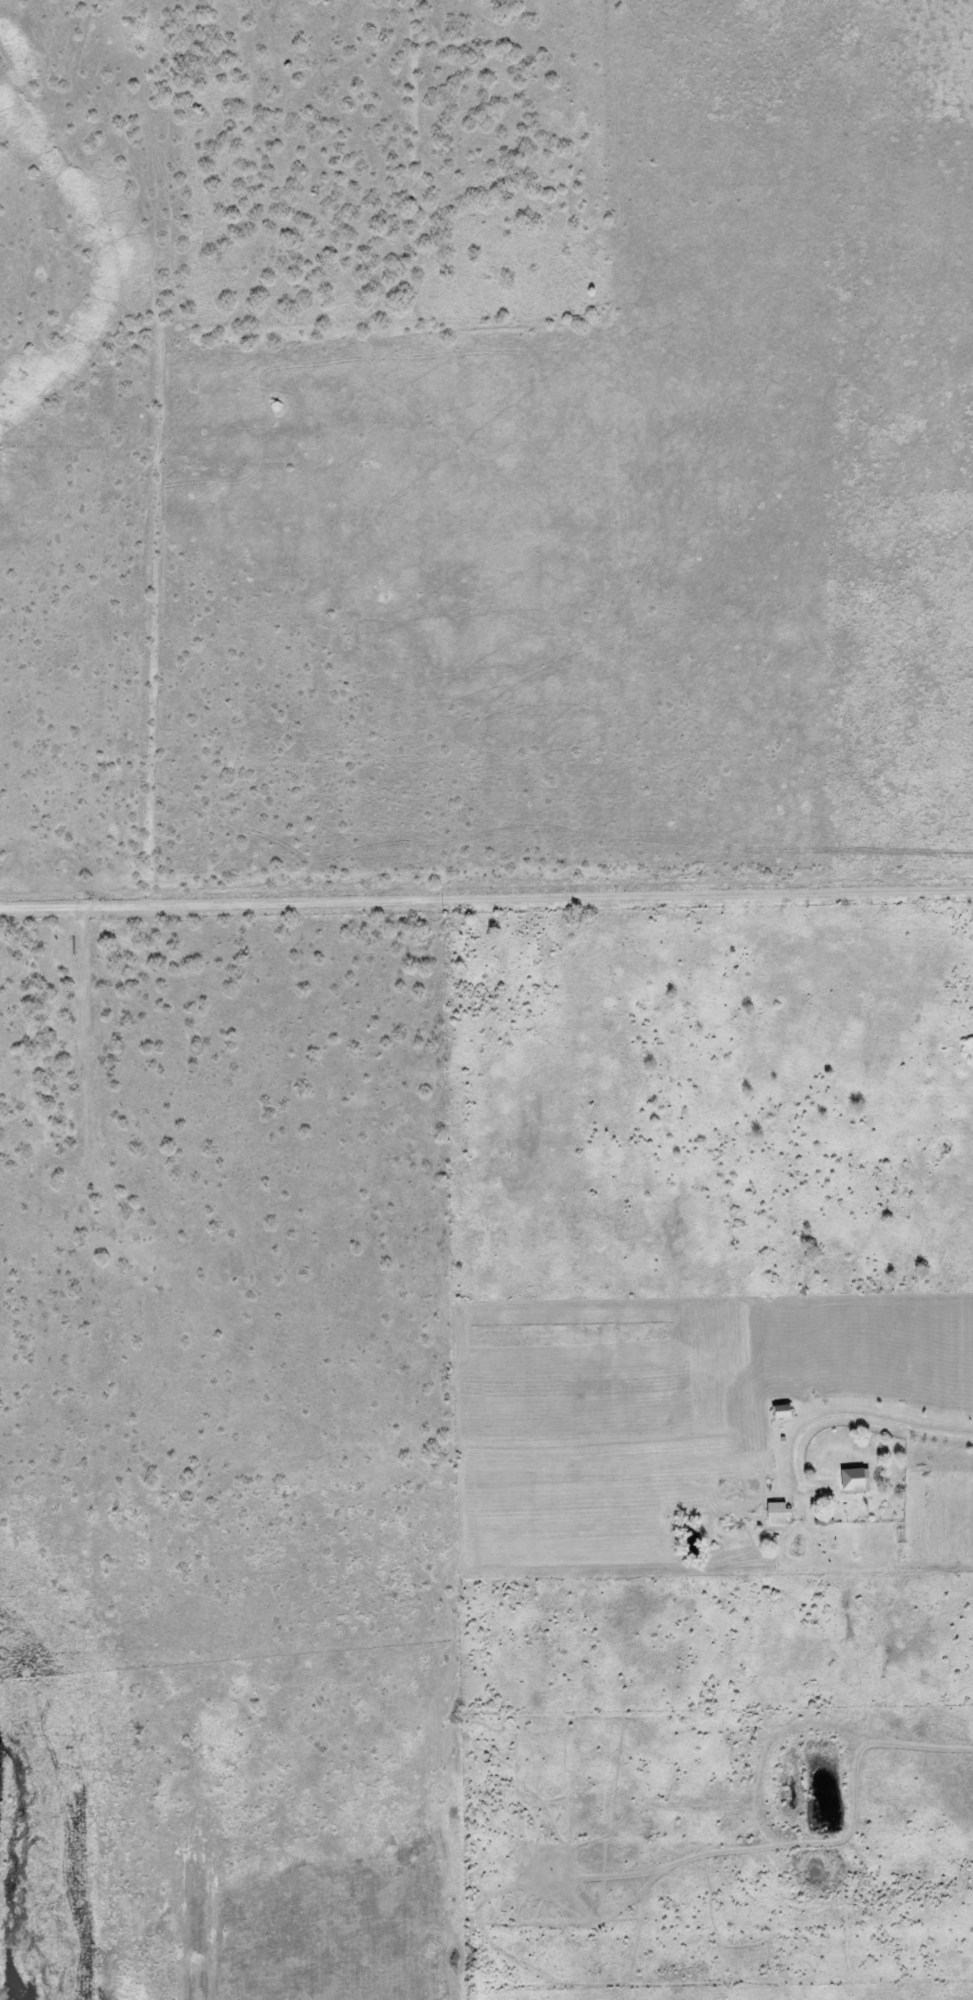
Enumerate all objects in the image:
road: (845, 1401)
building: (784, 1412)
building: (855, 1481)
building: (780, 1513)

